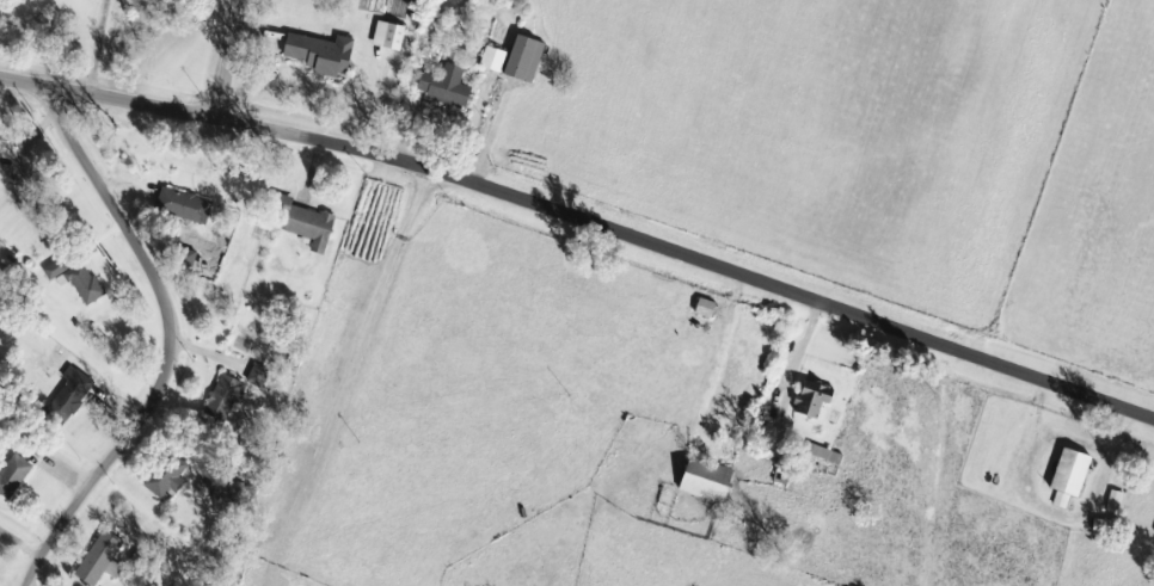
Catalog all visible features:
building: (393, 36)
road: (99, 47)
building: (325, 54)
building: (497, 58)
building: (529, 58)
road: (240, 64)
building: (450, 87)
road: (495, 135)
building: (0, 162)
building: (188, 205)
road: (583, 222)
building: (62, 267)
building: (86, 283)
road: (731, 306)
road: (810, 328)
road: (184, 341)
road: (215, 348)
road: (326, 376)
building: (263, 377)
building: (76, 391)
building: (228, 397)
building: (816, 400)
building: (17, 476)
building: (1074, 477)
building: (171, 479)
building: (711, 481)
building: (1118, 502)
building: (0, 522)
building: (103, 559)

